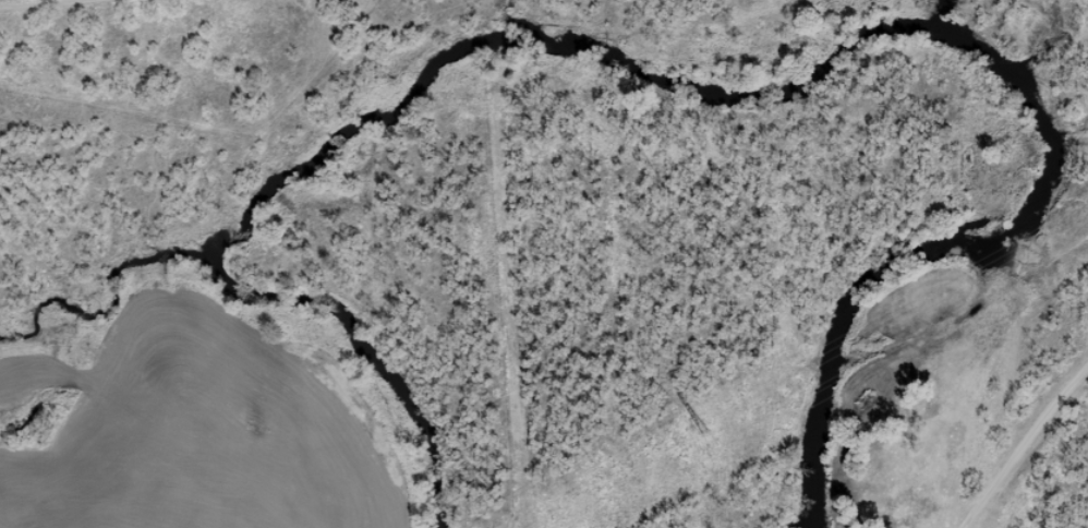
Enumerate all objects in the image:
power tower: (710, 442)
road: (1035, 458)

